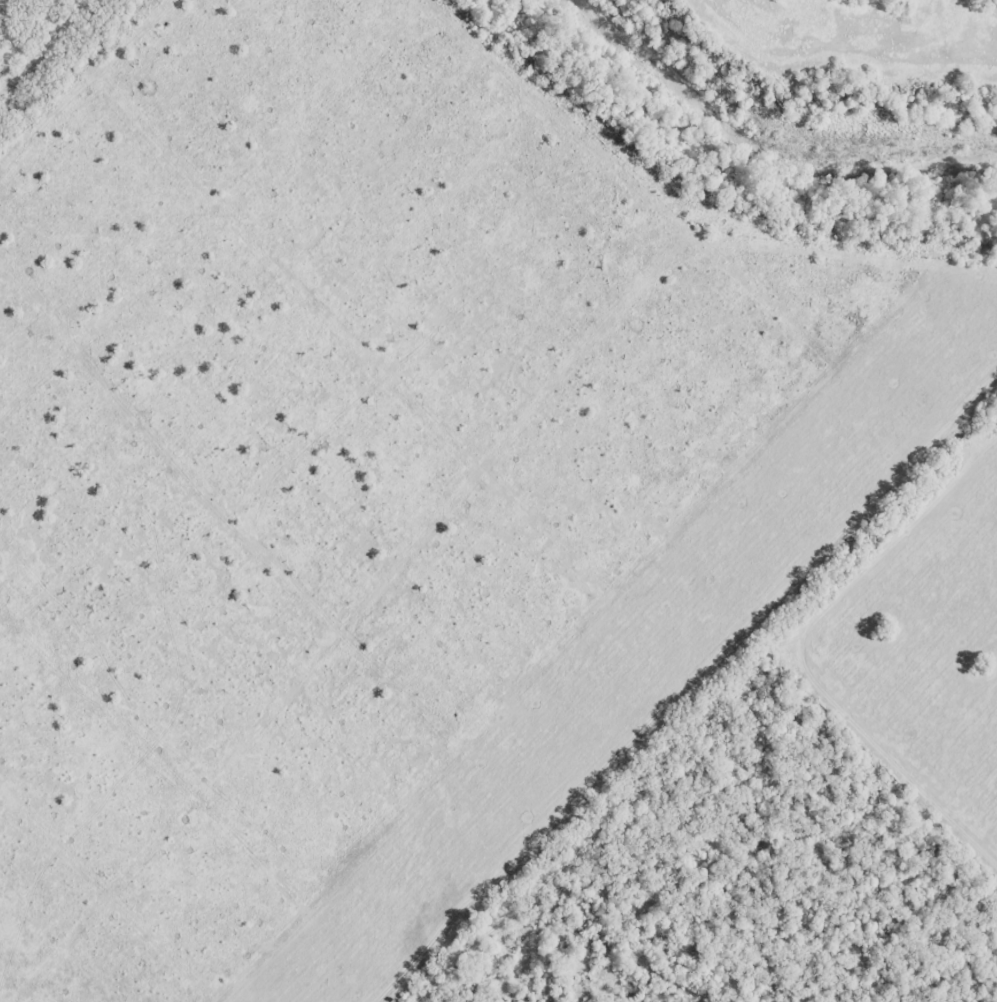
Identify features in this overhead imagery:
river: (762, 144)

